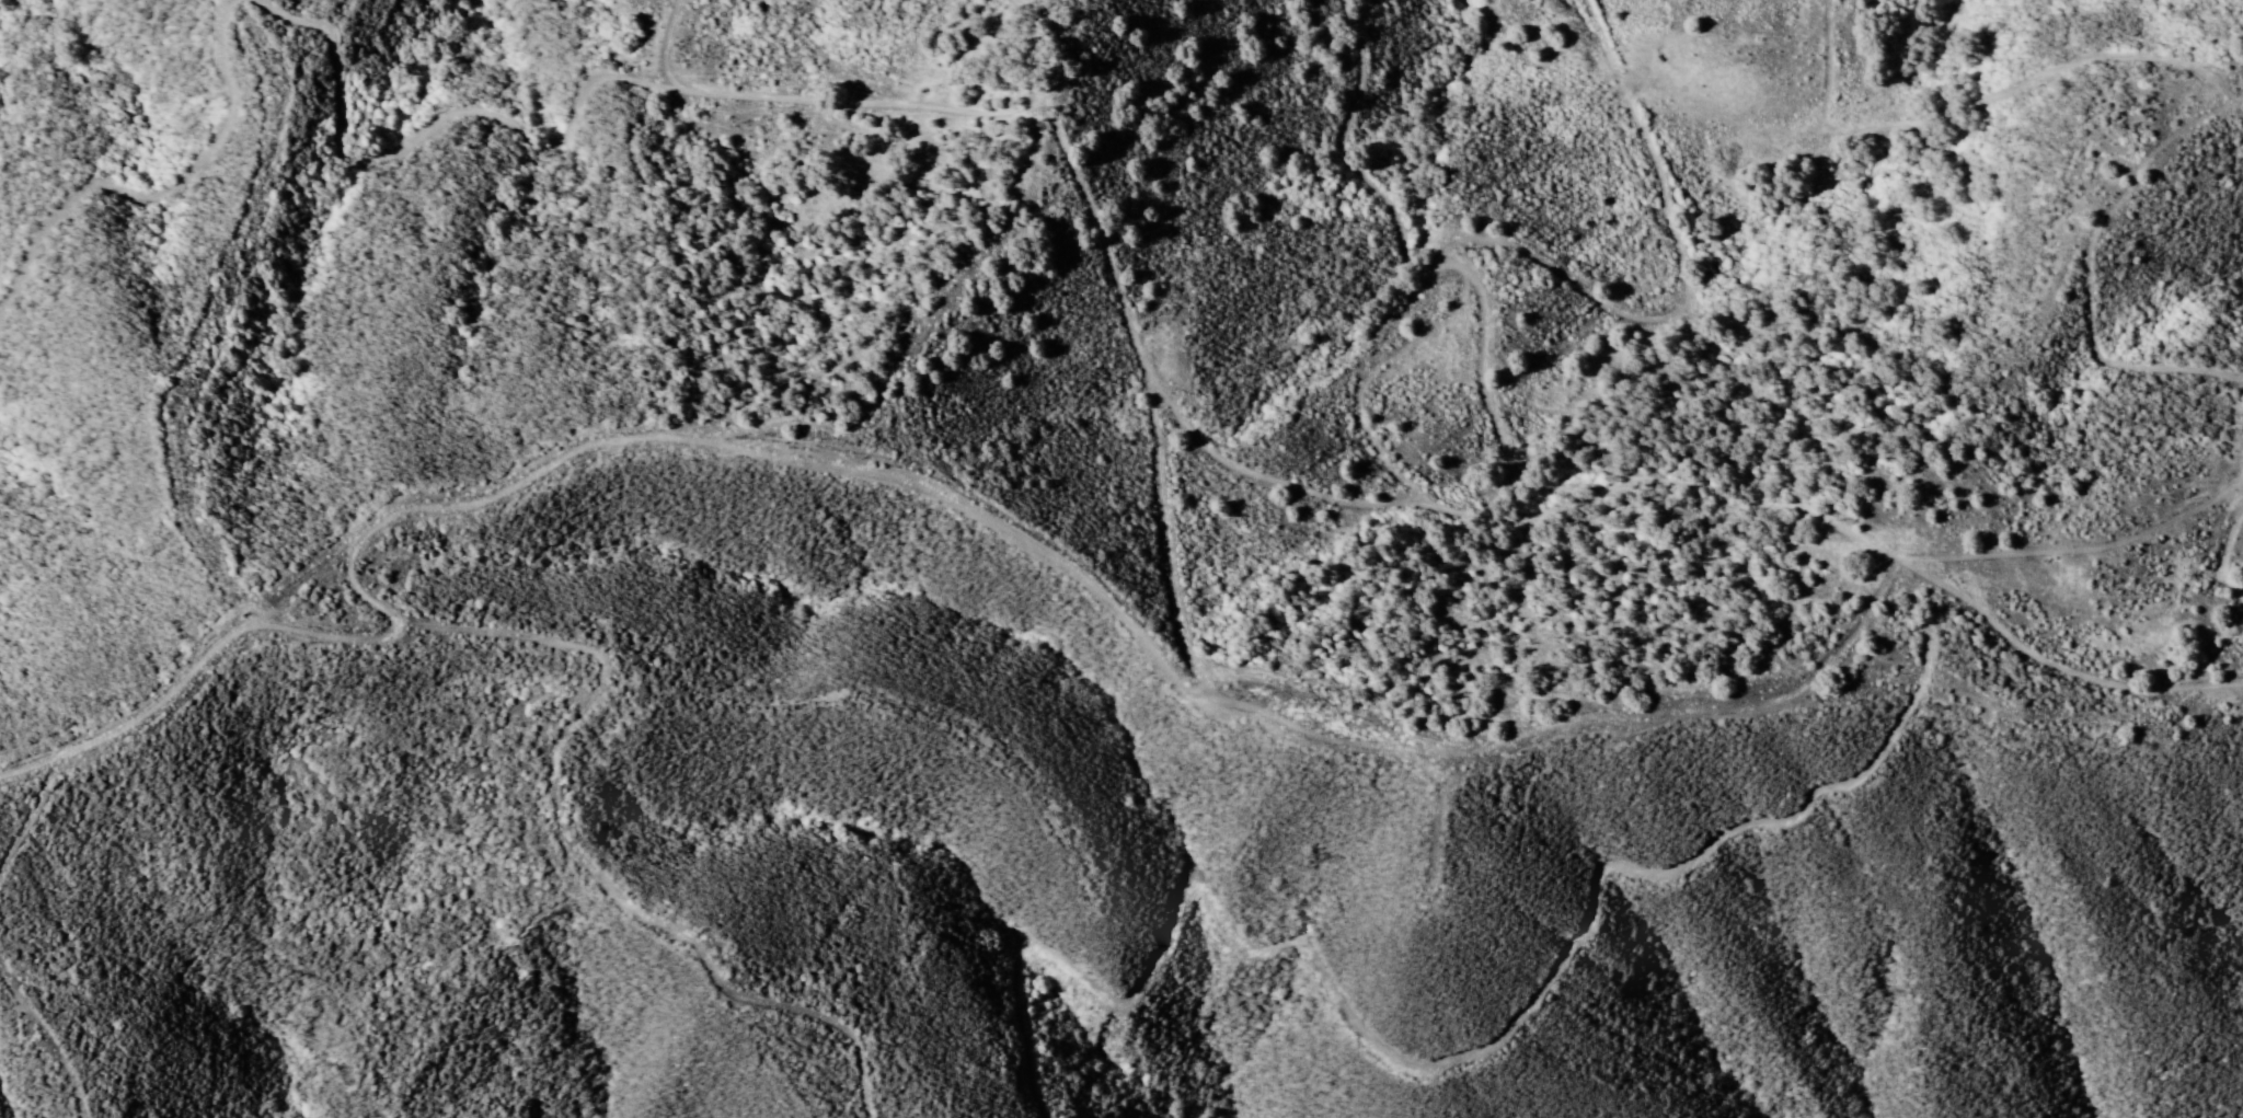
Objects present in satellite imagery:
road: (157, 186)
road: (1397, 258)
road: (1112, 280)
road: (1084, 599)
road: (1403, 1035)

